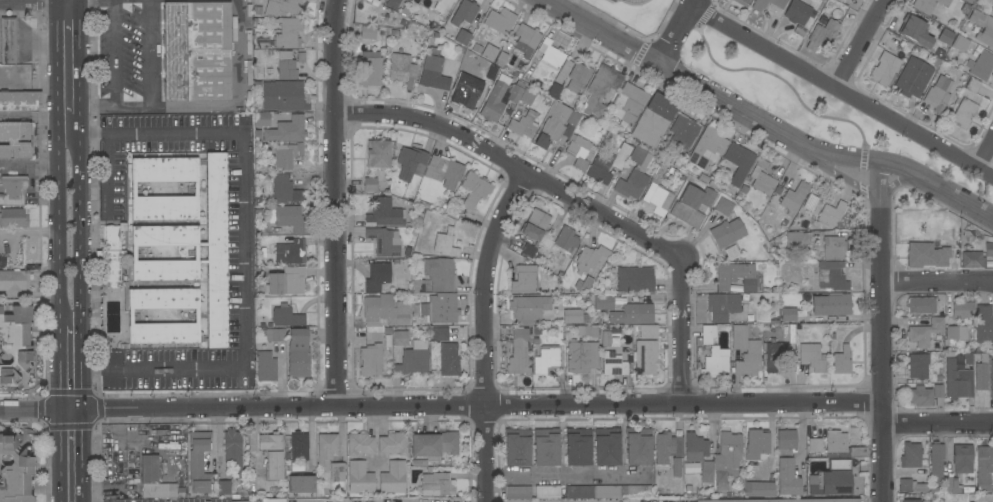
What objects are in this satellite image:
road: (69, 1)
building: (841, 1)
building: (969, 1)
road: (34, 2)
building: (741, 2)
building: (392, 4)
building: (442, 5)
building: (758, 5)
building: (928, 5)
building: (284, 7)
building: (256, 10)
building: (463, 12)
building: (796, 12)
building: (499, 21)
building: (912, 28)
building: (983, 28)
road: (675, 30)
building: (367, 32)
building: (288, 33)
building: (821, 35)
building: (462, 37)
building: (526, 40)
building: (7, 41)
building: (960, 43)
road: (858, 44)
building: (475, 48)
building: (195, 51)
road: (148, 53)
building: (550, 53)
building: (500, 59)
building: (980, 65)
building: (286, 66)
building: (370, 69)
building: (884, 69)
building: (401, 70)
building: (433, 71)
road: (69, 75)
road: (116, 77)
building: (577, 77)
building: (913, 77)
building: (971, 85)
building: (469, 90)
building: (554, 90)
building: (600, 90)
building: (515, 91)
road: (840, 92)
building: (283, 96)
building: (527, 97)
building: (934, 100)
building: (19, 101)
building: (631, 102)
road: (228, 106)
building: (493, 107)
building: (964, 113)
road: (35, 116)
building: (261, 119)
building: (653, 121)
building: (555, 124)
road: (764, 124)
building: (523, 125)
building: (286, 130)
building: (683, 132)
building: (15, 140)
building: (707, 148)
building: (579, 151)
road: (984, 152)
building: (377, 154)
building: (286, 155)
building: (409, 162)
building: (738, 163)
building: (607, 164)
road: (512, 166)
road: (35, 170)
building: (444, 171)
building: (660, 171)
building: (634, 175)
building: (761, 178)
road: (894, 182)
building: (369, 184)
building: (12, 189)
building: (132, 189)
building: (474, 189)
building: (284, 190)
building: (794, 198)
building: (659, 199)
road: (333, 202)
building: (810, 204)
building: (692, 205)
building: (723, 207)
building: (384, 213)
building: (831, 214)
building: (13, 218)
building: (286, 218)
building: (535, 226)
road: (71, 228)
building: (727, 232)
building: (796, 238)
building: (566, 240)
building: (384, 242)
building: (445, 244)
building: (833, 248)
building: (216, 250)
building: (528, 250)
building: (989, 250)
road: (241, 251)
building: (290, 252)
building: (196, 253)
building: (112, 255)
building: (925, 255)
building: (589, 258)
building: (972, 260)
building: (440, 274)
building: (832, 276)
building: (376, 277)
building: (736, 277)
building: (523, 279)
building: (634, 279)
building: (14, 280)
road: (936, 281)
building: (286, 282)
building: (583, 284)
building: (417, 286)
building: (603, 302)
building: (831, 304)
building: (722, 306)
building: (923, 306)
building: (442, 308)
building: (528, 308)
building: (962, 309)
building: (385, 310)
building: (632, 314)
building: (787, 314)
building: (196, 316)
building: (574, 316)
building: (286, 317)
building: (918, 322)
building: (983, 326)
building: (386, 330)
road: (482, 331)
building: (586, 331)
road: (682, 331)
road: (880, 331)
building: (648, 332)
building: (926, 332)
building: (440, 334)
building: (707, 334)
building: (955, 334)
building: (273, 335)
building: (399, 338)
building: (605, 339)
building: (14, 343)
building: (753, 352)
building: (297, 353)
building: (518, 353)
building: (773, 355)
building: (581, 356)
building: (645, 357)
building: (812, 357)
road: (71, 358)
building: (373, 358)
building: (545, 359)
building: (448, 360)
building: (841, 361)
building: (412, 362)
building: (715, 363)
building: (613, 364)
building: (265, 366)
building: (917, 366)
building: (981, 372)
building: (991, 374)
building: (957, 381)
building: (938, 394)
building: (920, 396)
road: (440, 403)
traffic signals: (70, 408)
road: (937, 422)
building: (392, 443)
building: (359, 444)
building: (756, 445)
building: (815, 445)
building: (298, 446)
building: (577, 446)
building: (638, 446)
building: (431, 447)
building: (545, 447)
building: (606, 447)
building: (666, 447)
building: (842, 447)
building: (326, 448)
building: (516, 448)
building: (232, 451)
building: (271, 454)
road: (70, 455)
building: (698, 455)
building: (910, 456)
building: (962, 458)
building: (727, 460)
building: (198, 462)
building: (936, 462)
building: (786, 463)
building: (676, 467)
building: (983, 467)
building: (15, 471)
building: (337, 472)
building: (392, 477)
building: (359, 478)
building: (831, 479)
building: (153, 480)
road: (565, 480)
building: (435, 483)
building: (301, 484)
building: (952, 485)
building: (912, 486)
building: (223, 487)
building: (759, 489)
building: (608, 491)
building: (518, 492)
building: (546, 492)
building: (124, 493)
building: (273, 500)
building: (782, 500)
building: (238, 501)
building: (910, 501)

